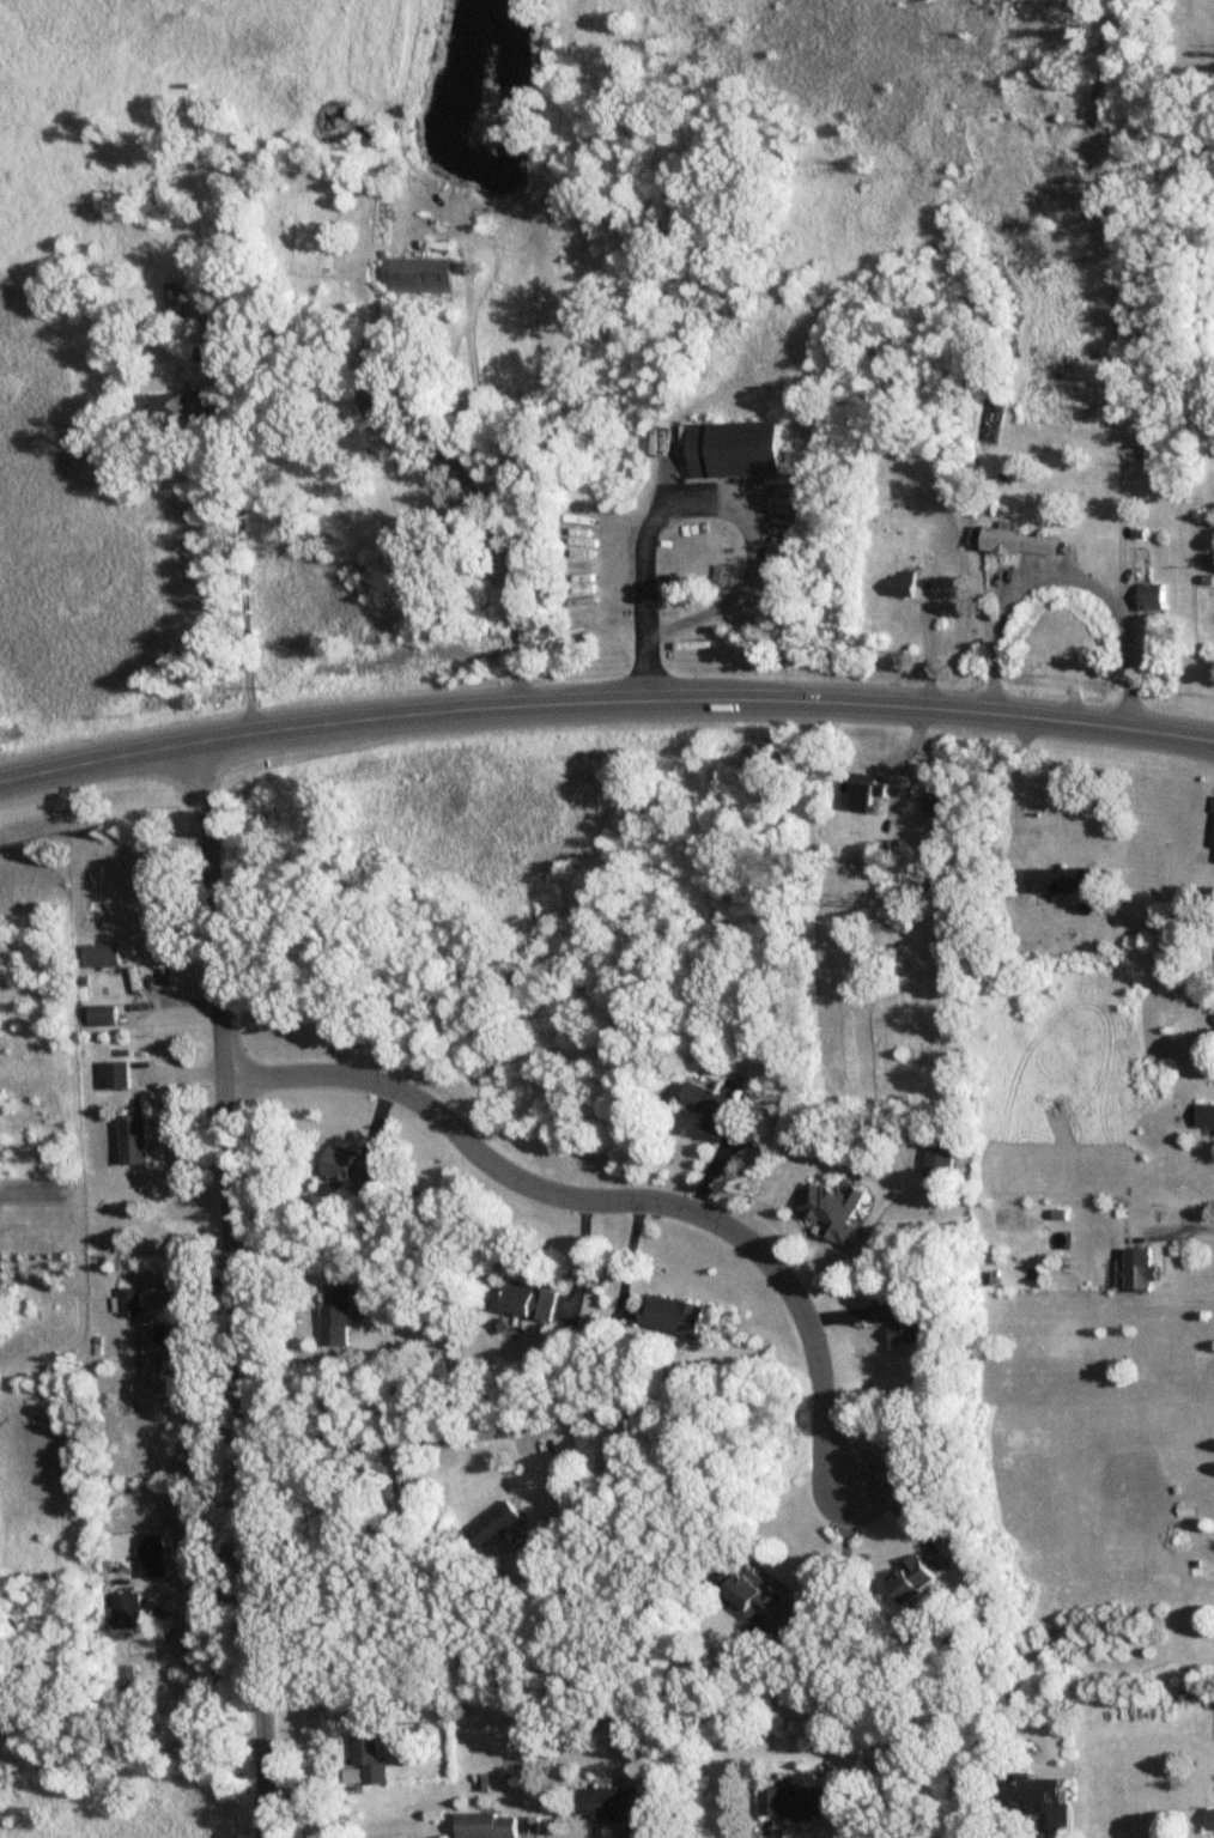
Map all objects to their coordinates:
building: (417, 277)
building: (175, 304)
building: (184, 405)
building: (737, 448)
road: (447, 459)
road: (696, 499)
building: (1020, 542)
road: (1069, 581)
building: (903, 584)
road: (239, 590)
road: (642, 593)
road: (736, 594)
building: (1153, 597)
road: (605, 697)
road: (198, 769)
road: (1018, 769)
building: (866, 795)
building: (936, 805)
building: (1063, 881)
building: (1208, 899)
building: (105, 956)
building: (103, 1015)
building: (114, 1075)
building: (714, 1109)
building: (138, 1140)
building: (942, 1160)
building: (360, 1169)
building: (35, 1193)
road: (619, 1193)
building: (840, 1211)
road: (1195, 1232)
building: (1145, 1270)
building: (130, 1302)
building: (535, 1302)
building: (1, 1304)
building: (341, 1315)
road: (241, 1317)
building: (679, 1317)
building: (904, 1320)
building: (152, 1352)
road: (375, 1448)
building: (499, 1525)
building: (156, 1558)
road: (844, 1561)
building: (916, 1582)
building: (754, 1596)
building: (132, 1612)
building: (372, 1761)
building: (802, 1802)
building: (1046, 1803)
building: (611, 1804)
building: (1213, 1819)
building: (488, 1826)

